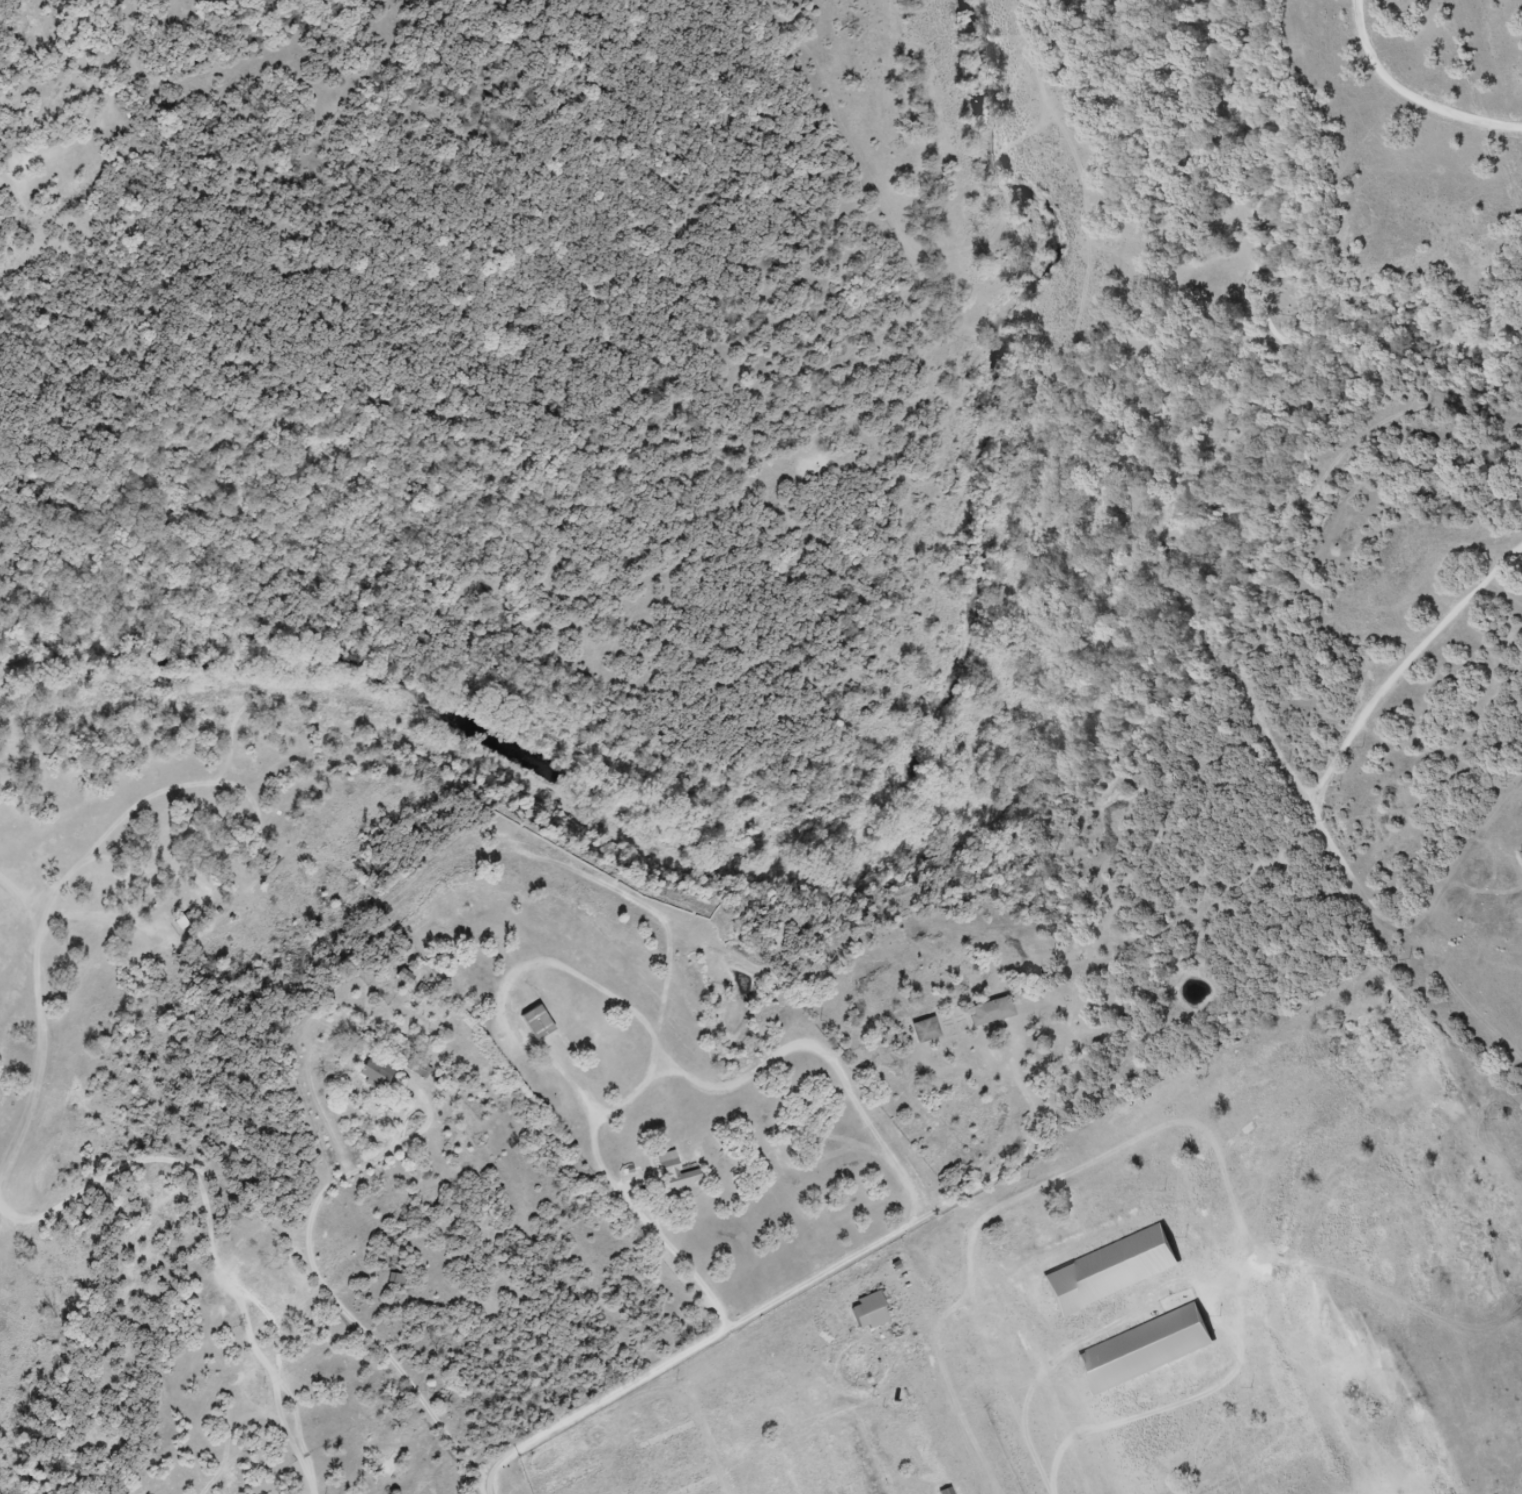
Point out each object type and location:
road: (1410, 99)
road: (1400, 668)
building: (994, 1015)
building: (530, 1022)
building: (928, 1031)
road: (650, 1036)
building: (380, 1072)
building: (672, 1173)
building: (1105, 1270)
building: (399, 1278)
building: (875, 1311)
building: (1141, 1349)
road: (264, 1364)
road: (595, 1404)
building: (391, 1466)
road: (308, 1490)
building: (951, 1491)
road: (372, 1492)

